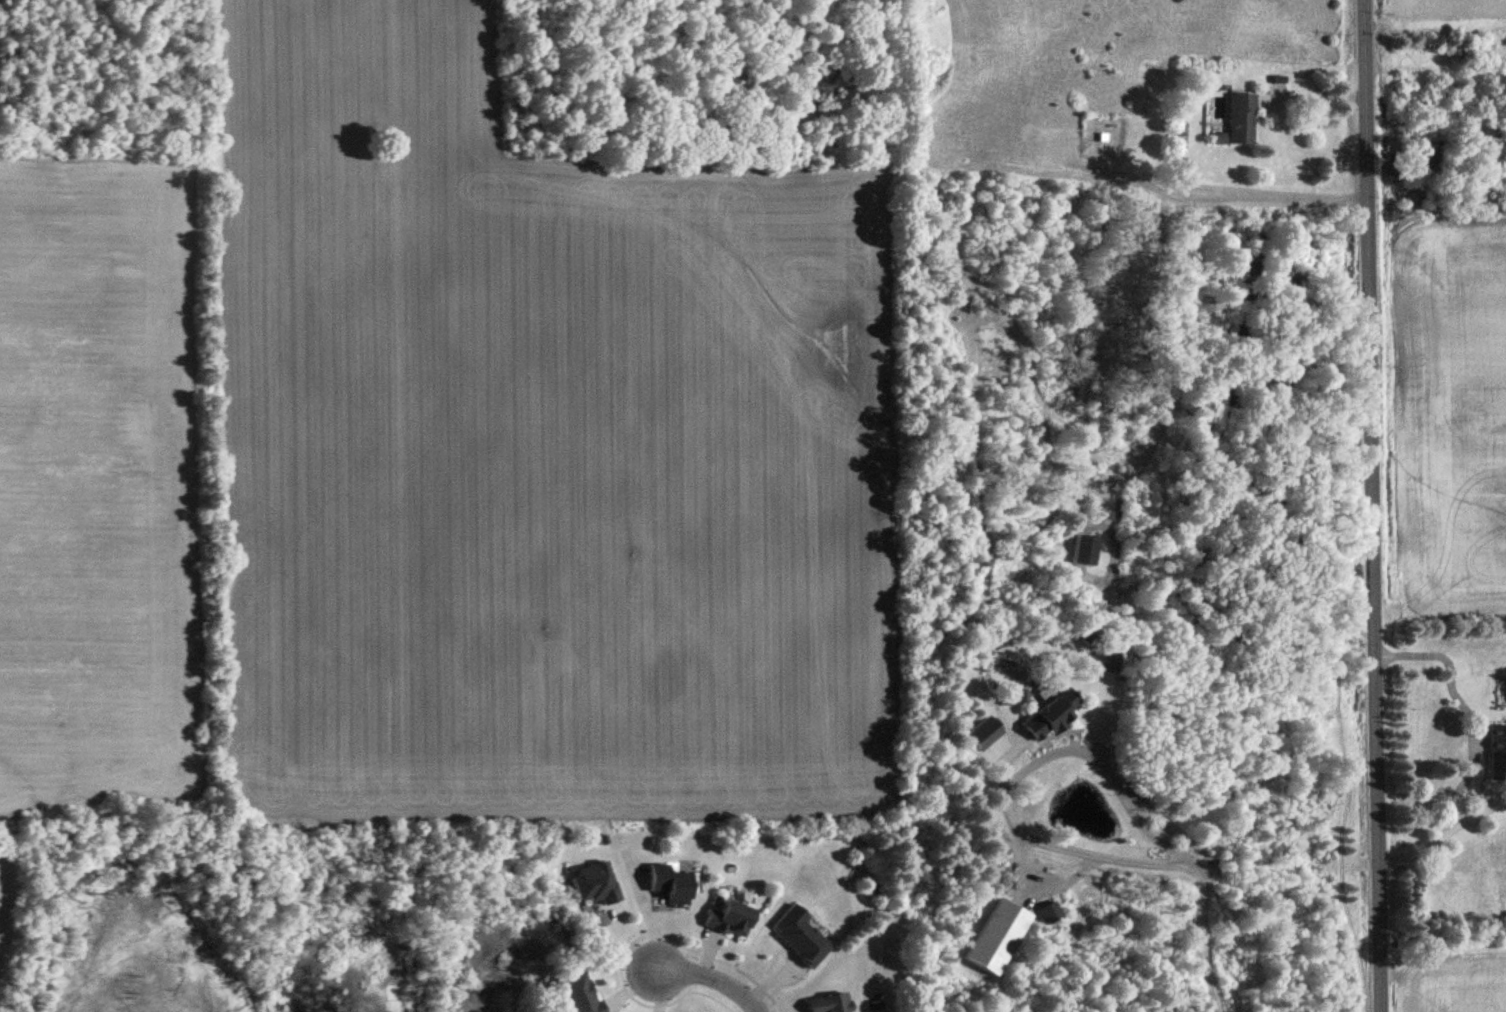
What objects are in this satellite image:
building: (1474, 55)
road: (1314, 95)
building: (1242, 119)
road: (1374, 505)
building: (1086, 551)
building: (1053, 714)
building: (982, 738)
building: (1498, 745)
road: (1471, 748)
road: (1012, 773)
building: (596, 883)
building: (671, 884)
building: (732, 919)
road: (1198, 933)
building: (802, 936)
building: (1000, 936)
road: (711, 980)
building: (580, 993)
building: (831, 1003)

